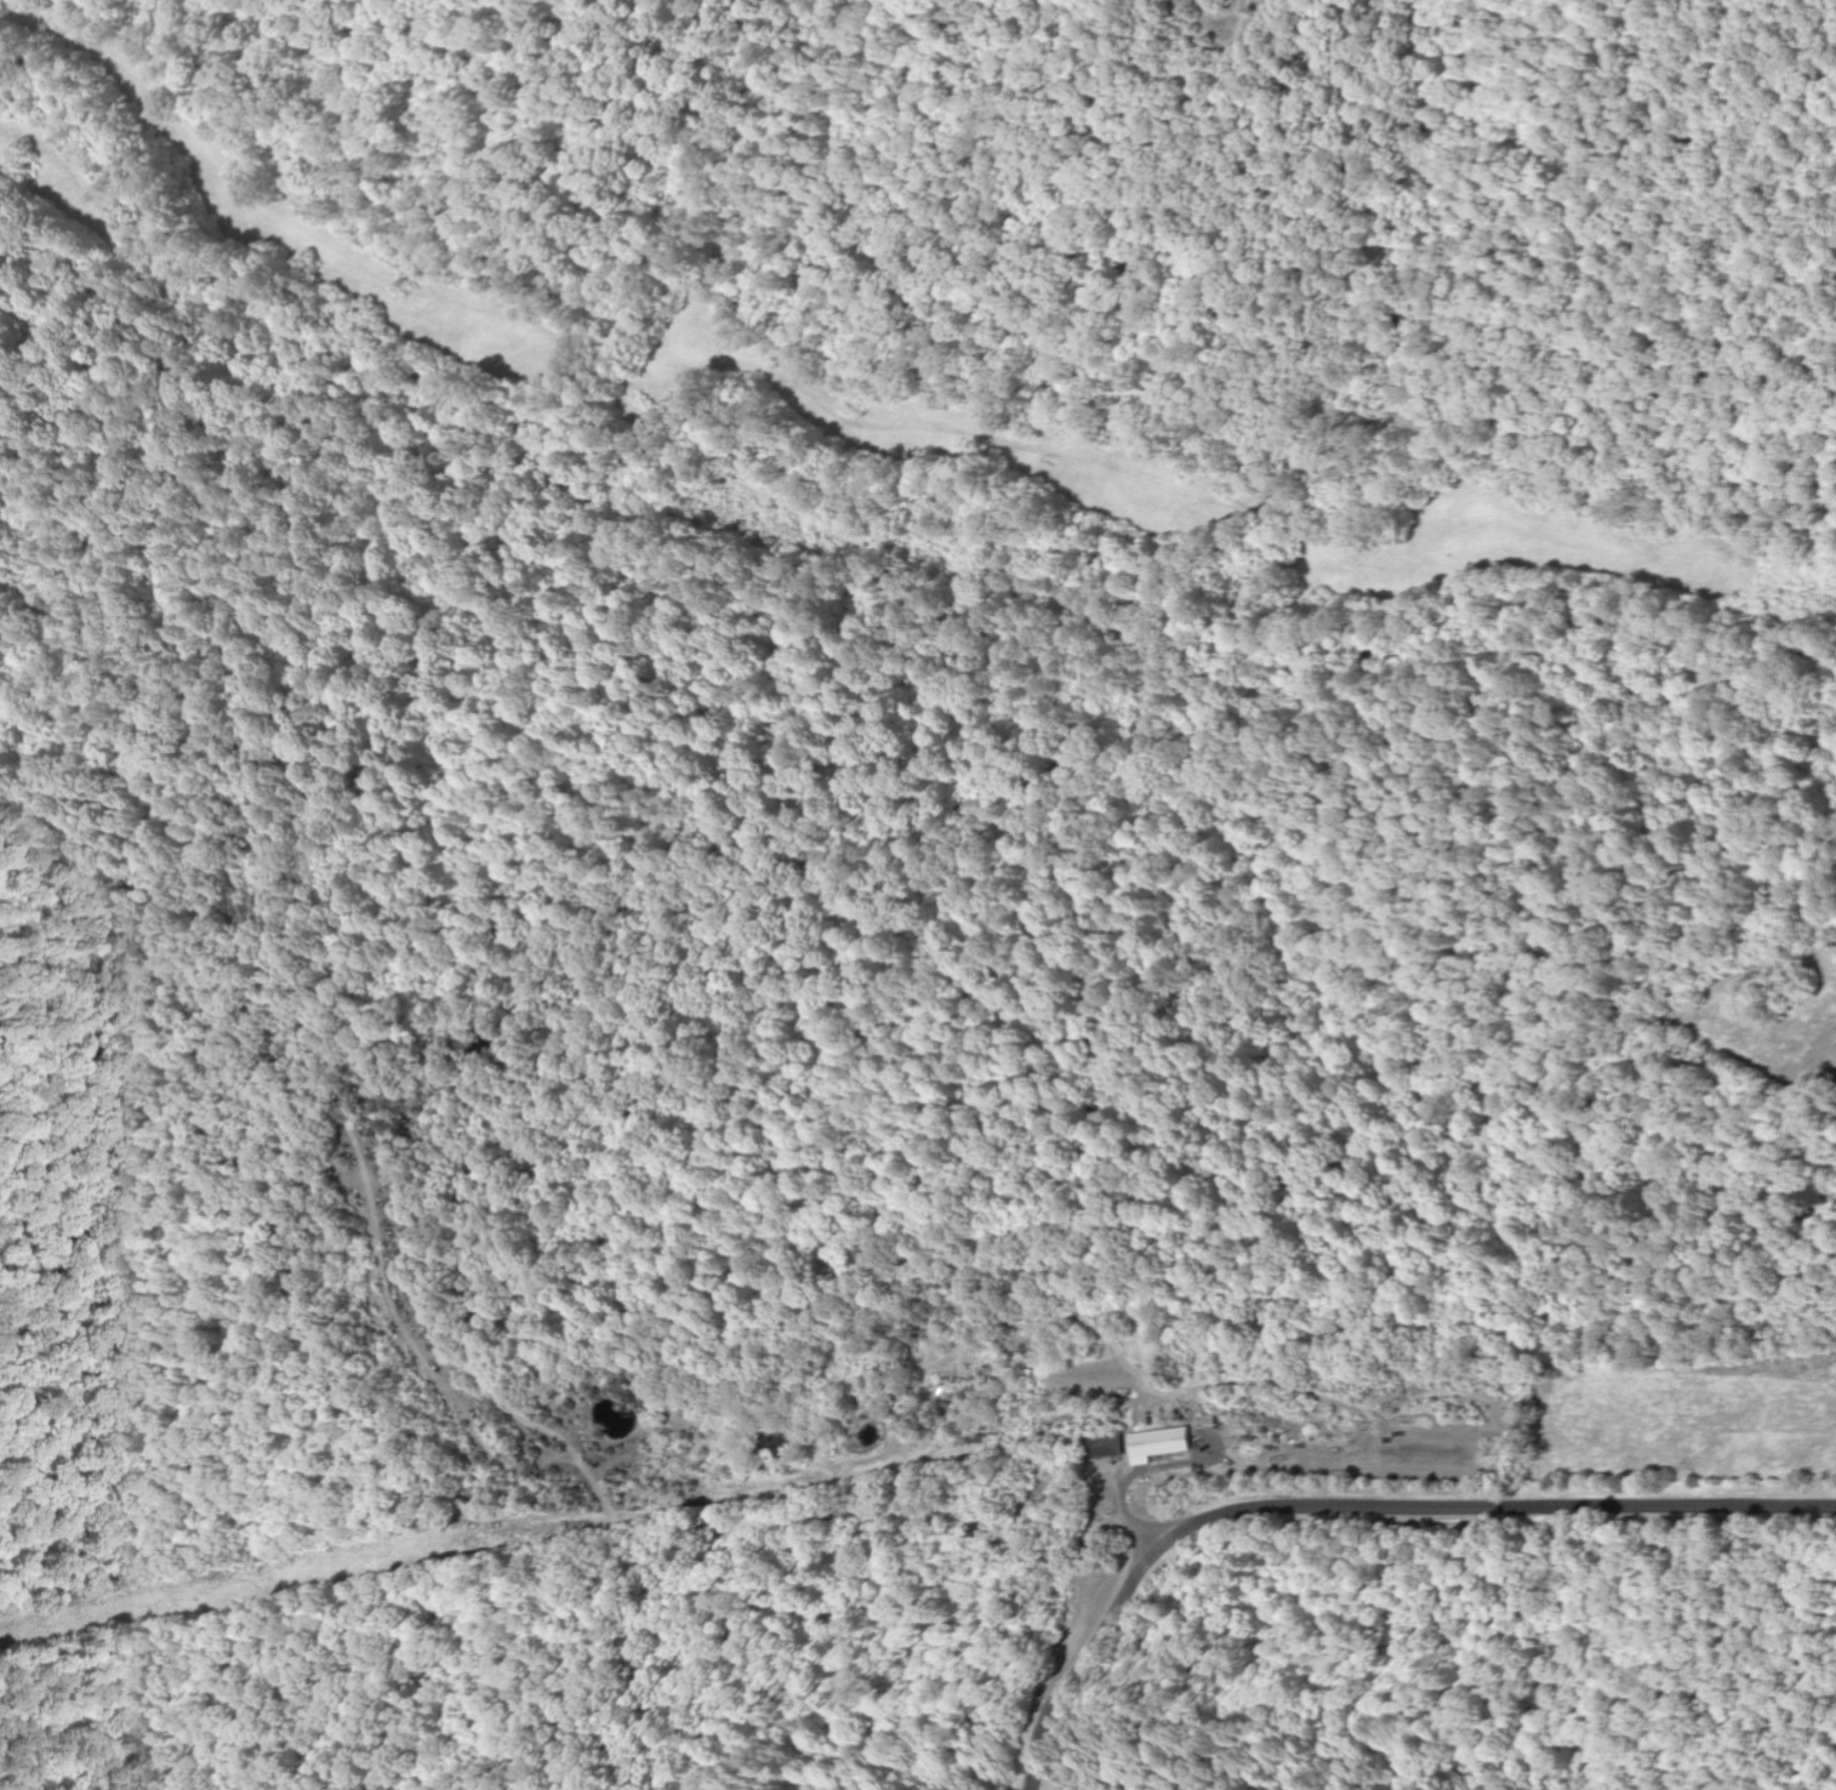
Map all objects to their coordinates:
road: (466, 1135)
building: (1163, 1446)
road: (1356, 1504)

